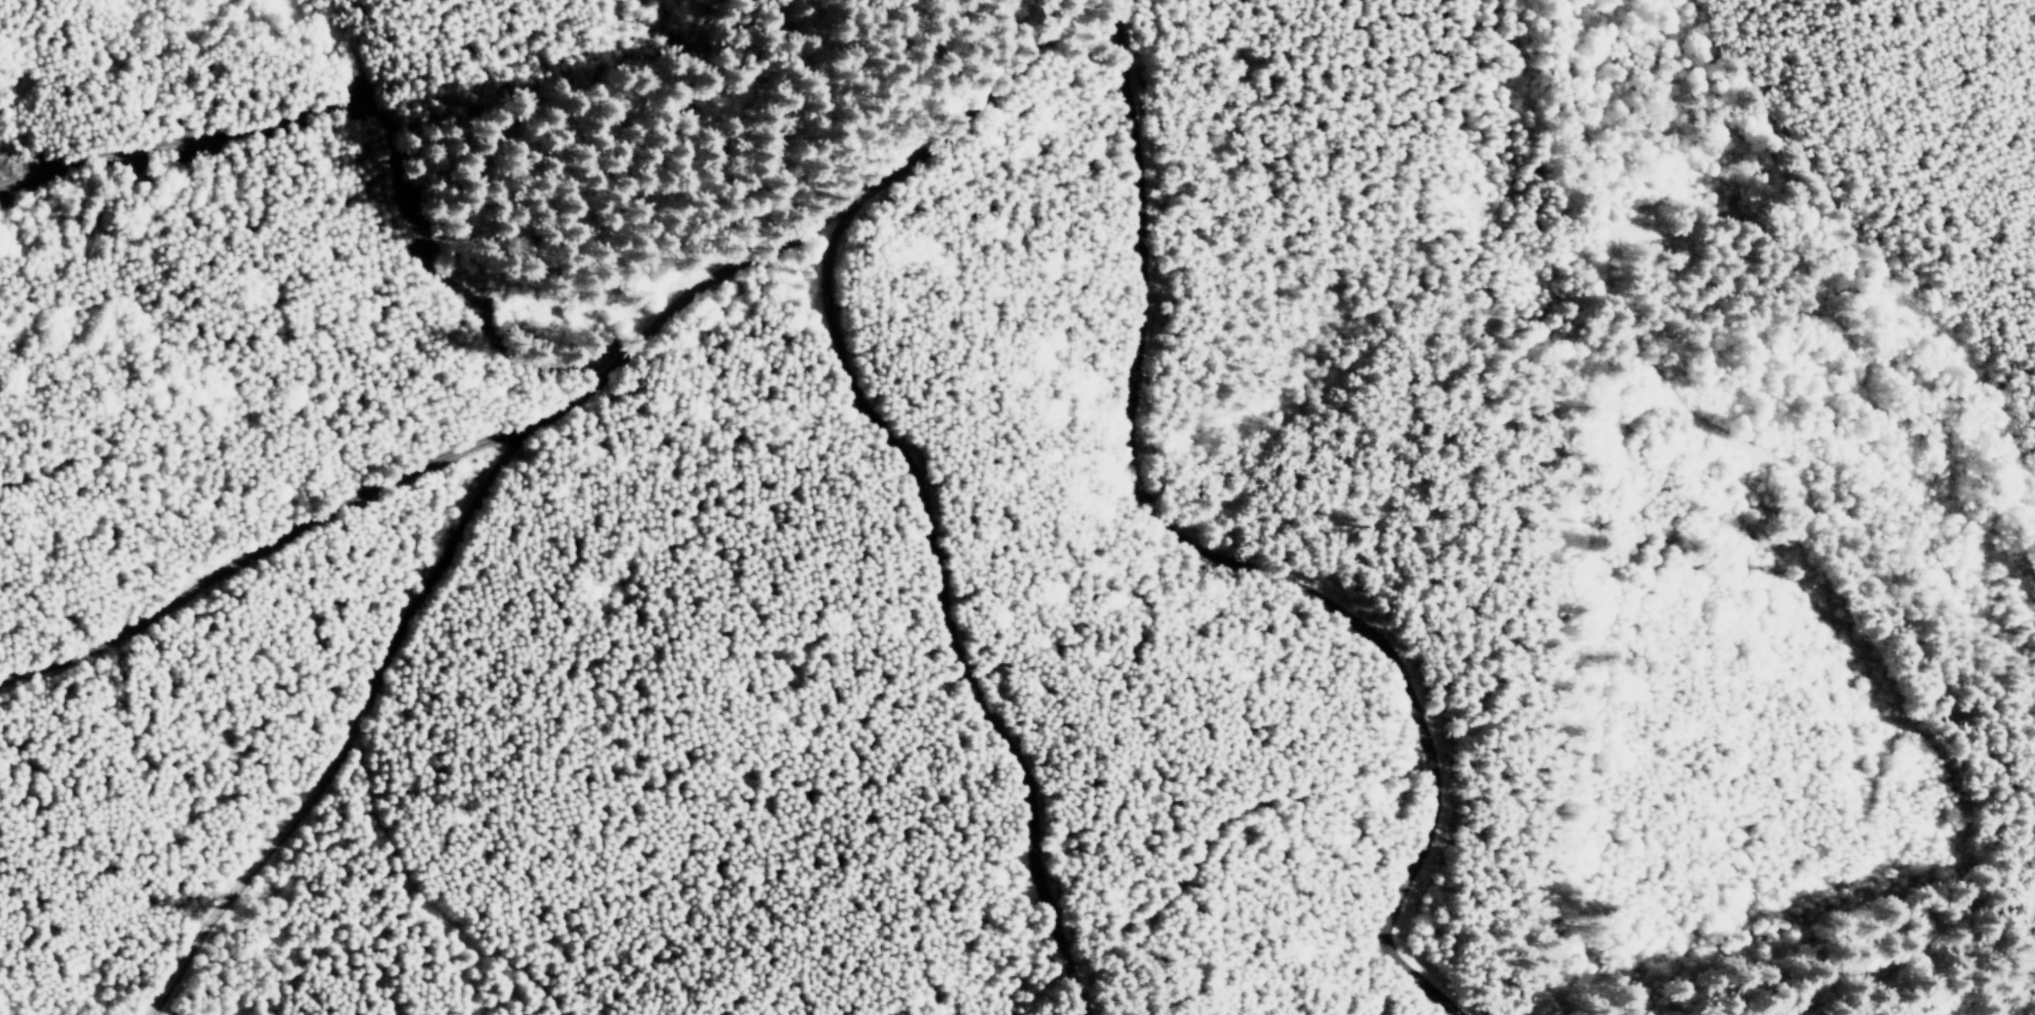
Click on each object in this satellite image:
road: (526, 436)
road: (263, 548)

